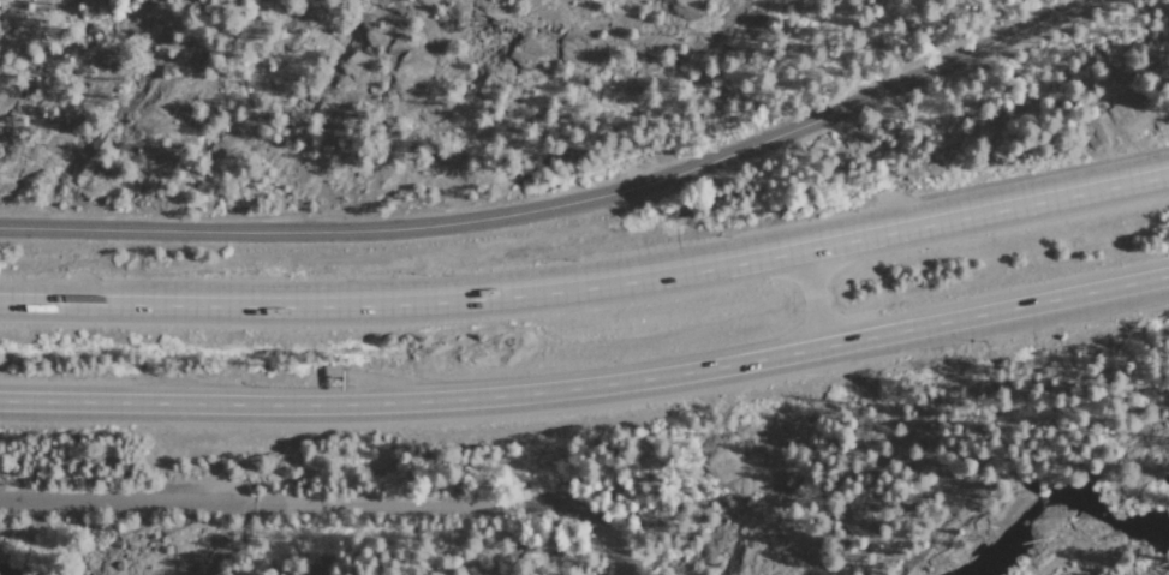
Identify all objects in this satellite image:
road: (562, 204)
road: (589, 283)
road: (589, 387)
road: (123, 499)
road: (447, 507)
river: (1096, 547)

